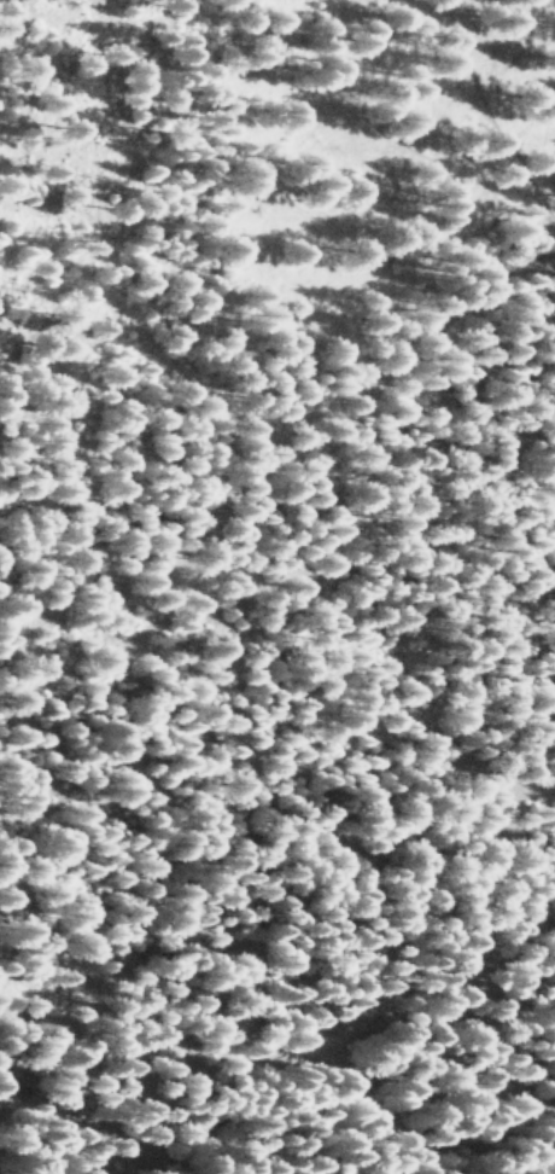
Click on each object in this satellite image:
road: (498, 132)
road: (274, 1053)

